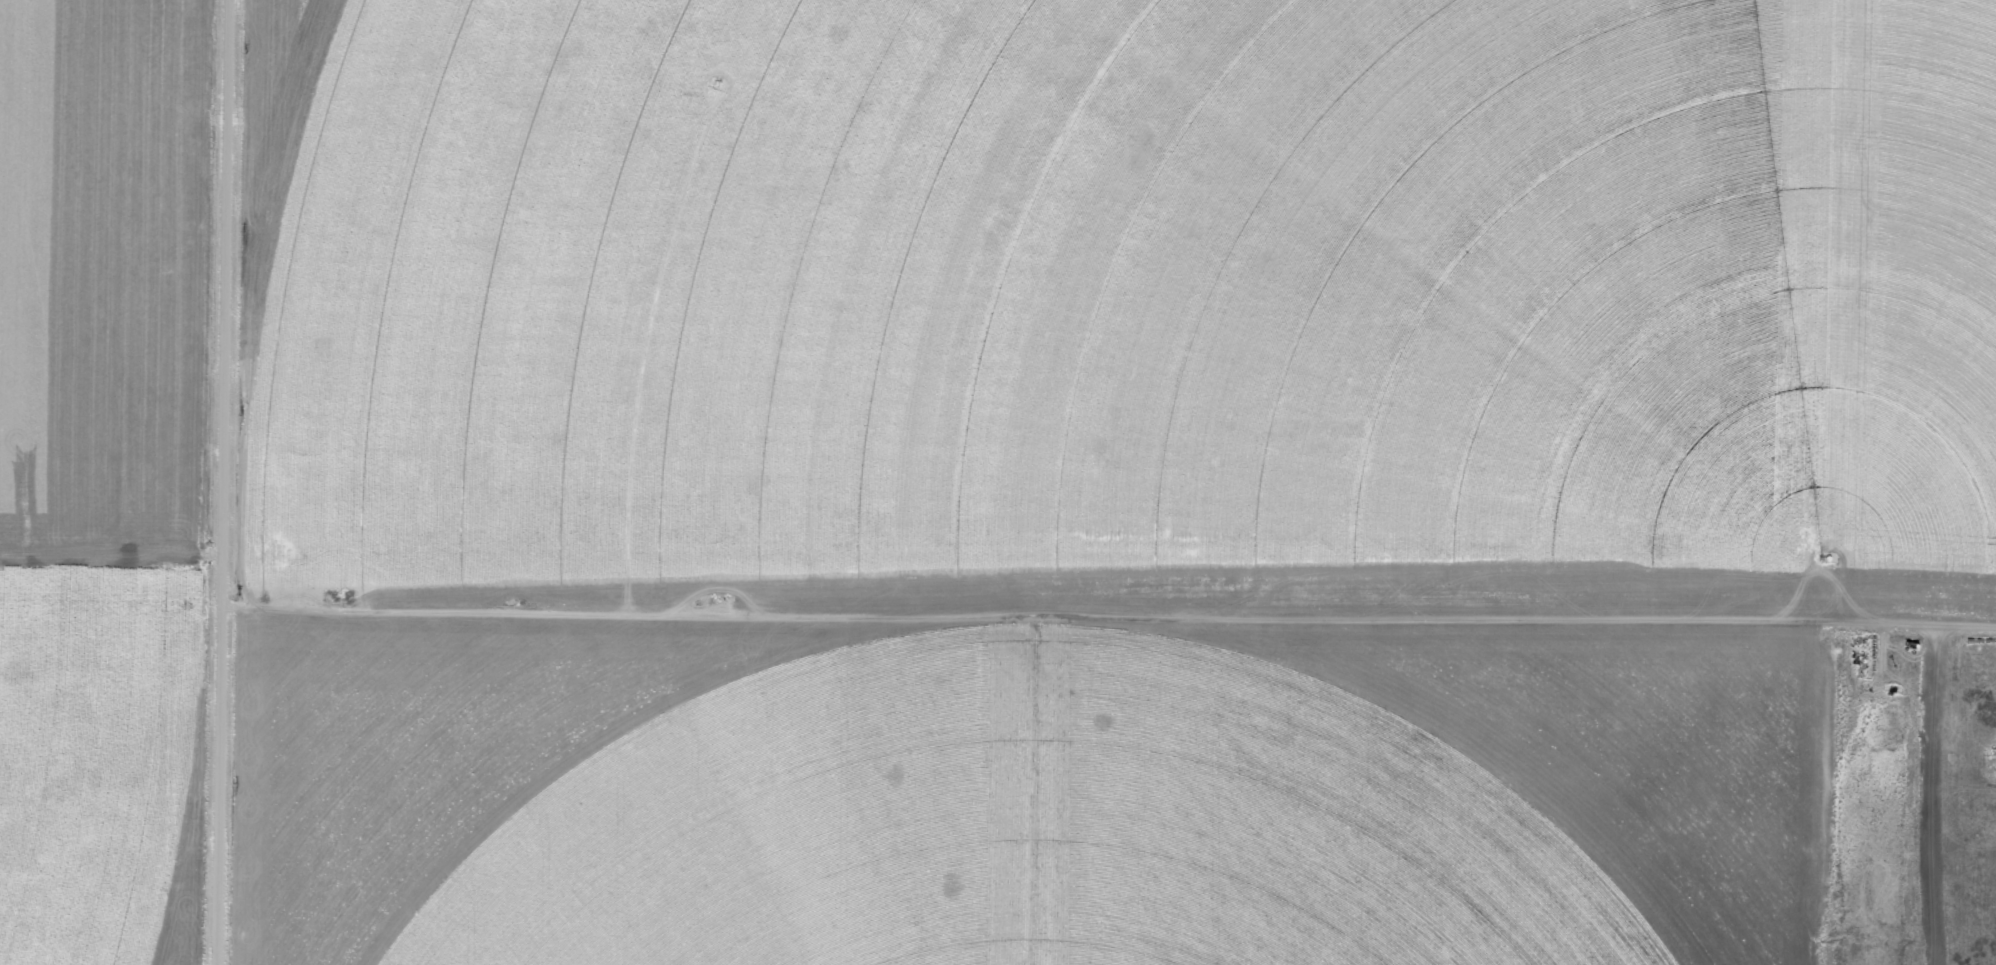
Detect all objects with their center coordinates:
road: (710, 306)
road: (225, 482)
road: (1109, 620)
road: (1811, 799)
road: (110, 828)

